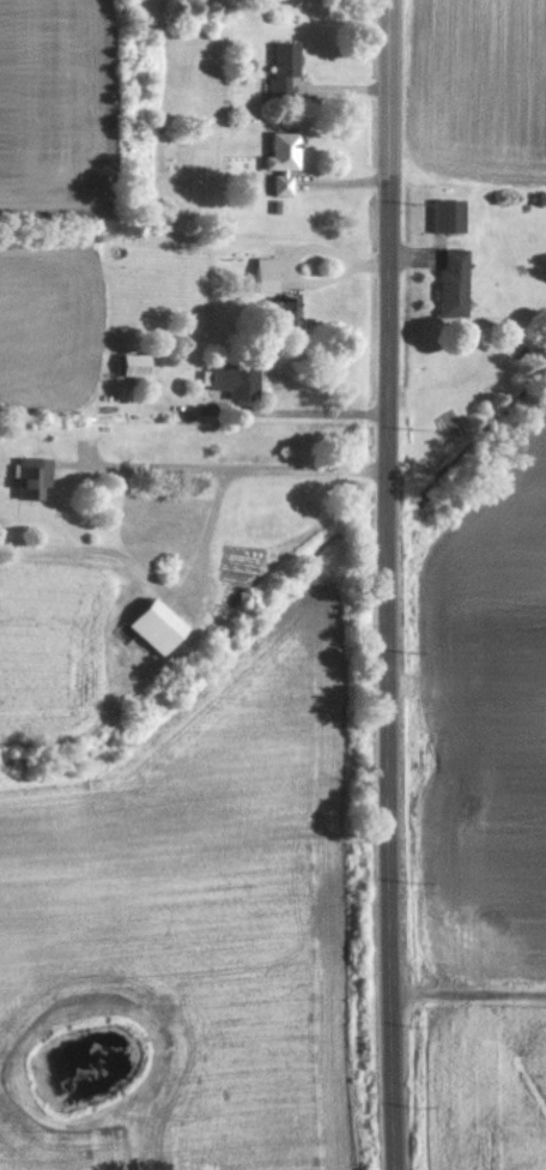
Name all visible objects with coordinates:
building: (277, 68)
building: (275, 161)
building: (439, 215)
building: (261, 276)
building: (444, 282)
building: (278, 310)
building: (125, 364)
building: (229, 379)
road: (293, 411)
road: (219, 464)
building: (23, 477)
road: (153, 579)
road: (390, 584)
building: (150, 625)

